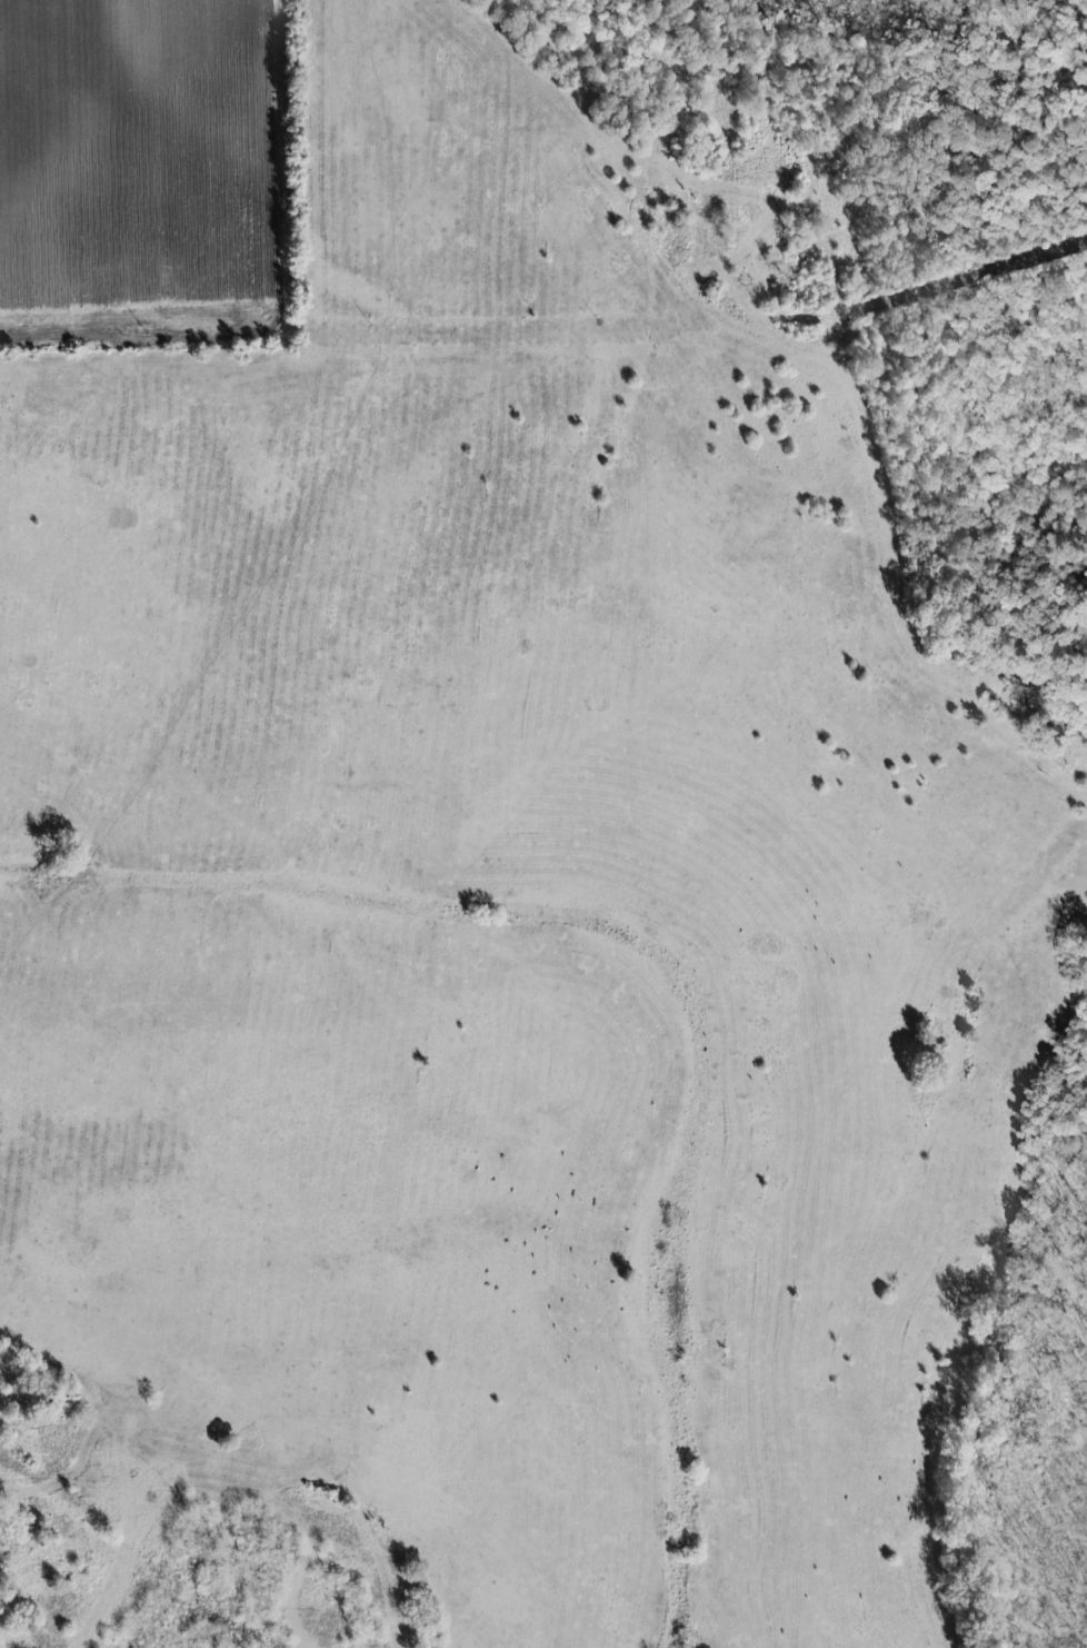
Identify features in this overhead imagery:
road: (406, 337)

